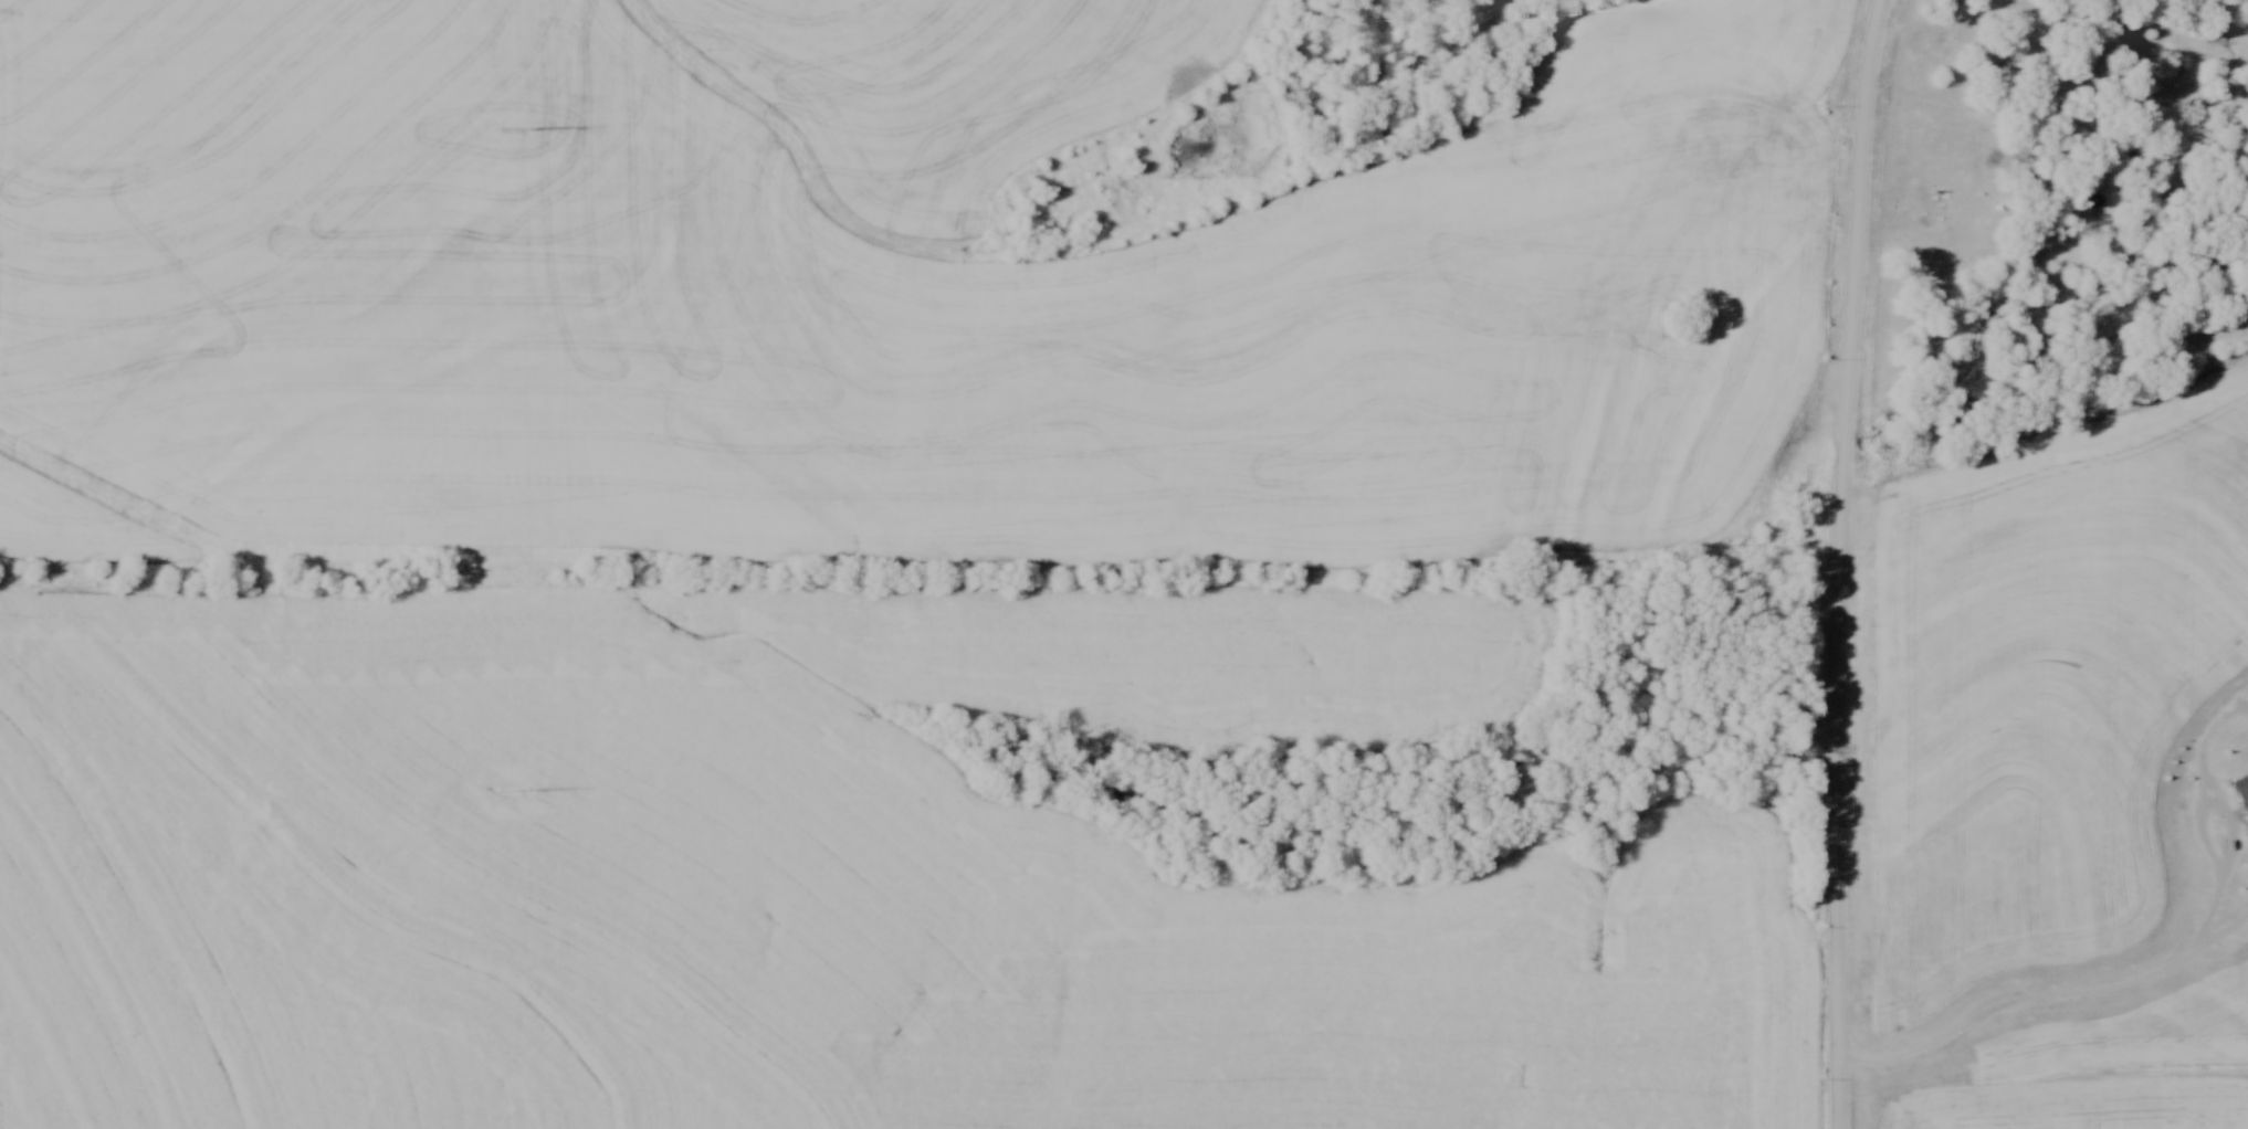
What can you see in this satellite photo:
power tower: (515, 127)
road: (1839, 562)
power tower: (513, 790)
road: (2141, 978)

